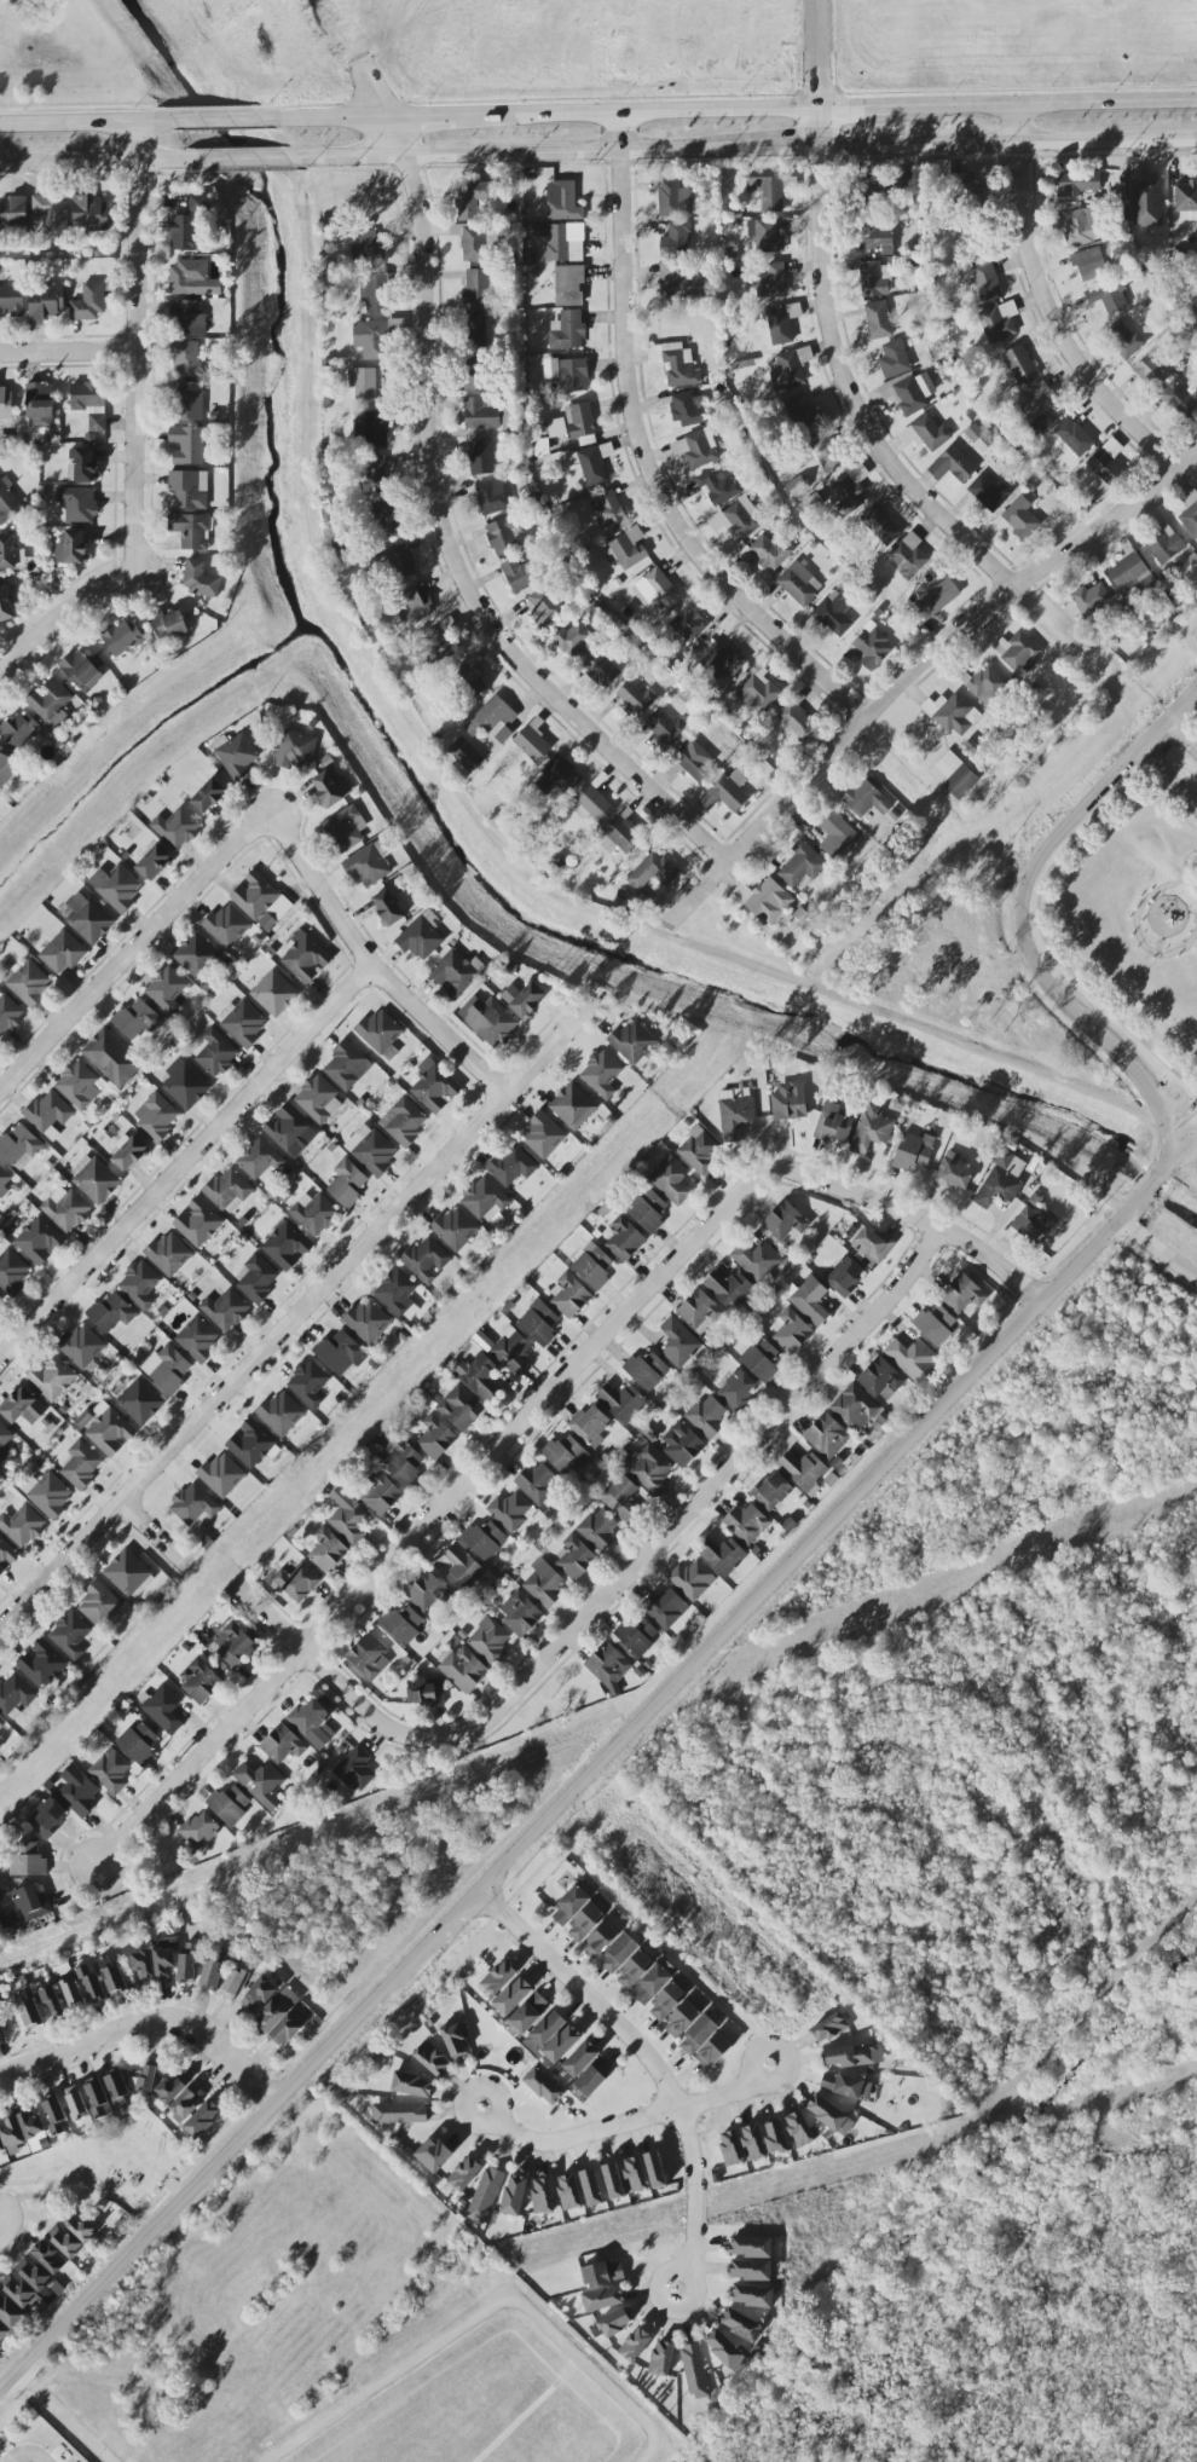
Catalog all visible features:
park: (44, 19)
road: (375, 97)
road: (1048, 106)
road: (862, 110)
road: (641, 117)
road: (331, 121)
road: (423, 121)
road: (215, 122)
road: (79, 127)
road: (1010, 144)
road: (786, 149)
road: (525, 154)
road: (247, 157)
road: (94, 160)
building: (1077, 184)
building: (965, 189)
building: (769, 191)
building: (1185, 197)
building: (673, 198)
building: (473, 200)
building: (562, 202)
building: (1146, 204)
building: (89, 213)
building: (13, 214)
building: (52, 216)
building: (187, 225)
building: (1079, 227)
building: (872, 236)
building: (765, 237)
building: (676, 239)
building: (967, 239)
building: (560, 241)
building: (472, 242)
building: (368, 248)
building: (1089, 264)
building: (192, 279)
building: (874, 279)
building: (983, 279)
building: (771, 281)
building: (681, 283)
building: (568, 285)
building: (478, 287)
building: (375, 293)
building: (1108, 296)
building: (11, 301)
building: (46, 301)
building: (88, 302)
road: (1052, 308)
building: (186, 318)
building: (878, 319)
building: (999, 322)
road: (835, 323)
building: (779, 326)
building: (478, 329)
building: (567, 330)
building: (1123, 339)
building: (371, 340)
road: (139, 349)
road: (69, 352)
building: (186, 359)
building: (894, 359)
building: (677, 364)
building: (1019, 365)
building: (786, 371)
building: (1153, 371)
building: (474, 374)
building: (567, 374)
building: (365, 383)
building: (908, 392)
building: (1179, 400)
building: (5, 401)
building: (89, 403)
building: (186, 403)
building: (39, 405)
building: (686, 409)
building: (1039, 410)
building: (800, 414)
building: (480, 415)
building: (579, 421)
building: (556, 427)
building: (371, 432)
building: (931, 433)
building: (908, 435)
building: (1074, 437)
building: (186, 445)
building: (540, 447)
building: (696, 449)
building: (823, 453)
building: (481, 457)
road: (649, 458)
building: (1106, 461)
building: (82, 464)
building: (594, 464)
building: (953, 466)
building: (375, 475)
building: (719, 486)
building: (189, 489)
building: (846, 493)
building: (988, 493)
building: (493, 497)
building: (7, 502)
building: (79, 504)
building: (607, 509)
building: (1190, 513)
building: (387, 519)
building: (738, 520)
building: (1020, 520)
building: (880, 526)
building: (190, 531)
building: (504, 534)
road: (452, 541)
building: (1164, 544)
building: (71, 548)
building: (626, 550)
building: (10, 553)
building: (767, 553)
building: (907, 555)
building: (1128, 572)
building: (520, 574)
building: (199, 578)
building: (799, 584)
building: (654, 590)
building: (938, 599)
building: (1091, 599)
building: (417, 602)
building: (8, 606)
building: (544, 607)
building: (833, 614)
road: (64, 615)
building: (687, 625)
building: (168, 626)
building: (122, 637)
building: (571, 637)
building: (871, 647)
road: (1100, 648)
building: (1019, 652)
building: (721, 660)
building: (81, 670)
building: (600, 670)
road: (919, 672)
building: (469, 678)
building: (985, 684)
building: (758, 693)
building: (635, 698)
building: (50, 704)
building: (953, 713)
building: (493, 719)
building: (796, 721)
building: (664, 728)
building: (19, 730)
road: (1182, 735)
building: (532, 744)
building: (295, 750)
building: (237, 756)
building: (465, 756)
building: (694, 762)
building: (6, 768)
building: (953, 775)
building: (557, 776)
road: (1169, 776)
road: (1146, 787)
building: (331, 788)
building: (727, 792)
building: (208, 796)
building: (862, 801)
building: (595, 804)
road: (1164, 815)
building: (177, 828)
building: (345, 830)
building: (623, 834)
building: (837, 837)
building: (154, 863)
building: (369, 865)
building: (802, 865)
building: (652, 872)
building: (116, 886)
building: (765, 900)
building: (260, 901)
building: (388, 907)
road: (1022, 915)
building: (86, 917)
building: (227, 925)
building: (421, 937)
road: (1042, 937)
road: (1068, 950)
building: (63, 952)
road: (139, 955)
building: (196, 955)
building: (305, 958)
road: (372, 967)
building: (456, 973)
building: (29, 983)
building: (166, 989)
building: (273, 994)
building: (524, 999)
building: (8, 1013)
building: (137, 1021)
building: (488, 1021)
building: (243, 1022)
building: (381, 1033)
building: (632, 1041)
building: (215, 1053)
building: (111, 1057)
building: (346, 1067)
building: (601, 1074)
building: (185, 1085)
building: (79, 1086)
building: (434, 1086)
building: (318, 1099)
building: (788, 1100)
building: (573, 1106)
building: (735, 1112)
building: (50, 1114)
building: (156, 1116)
building: (404, 1121)
building: (833, 1125)
road: (1181, 1125)
building: (288, 1127)
building: (871, 1131)
building: (543, 1135)
road: (1184, 1144)
building: (19, 1146)
building: (370, 1149)
building: (699, 1149)
building: (912, 1151)
building: (128, 1152)
building: (260, 1161)
road: (186, 1166)
building: (511, 1166)
building: (953, 1173)
building: (94, 1179)
building: (670, 1179)
building: (5, 1180)
building: (1001, 1180)
building: (347, 1184)
building: (227, 1189)
building: (484, 1198)
building: (65, 1209)
building: (647, 1210)
building: (314, 1214)
building: (785, 1220)
building: (197, 1223)
building: (1033, 1223)
building: (456, 1232)
building: (624, 1239)
building: (39, 1241)
building: (285, 1247)
building: (872, 1247)
road: (1157, 1252)
building: (168, 1254)
building: (426, 1260)
building: (756, 1260)
building: (592, 1266)
building: (12, 1271)
building: (845, 1276)
building: (258, 1278)
building: (139, 1284)
building: (729, 1289)
building: (398, 1294)
building: (962, 1294)
building: (569, 1295)
building: (0, 1300)
building: (810, 1300)
building: (225, 1310)
building: (111, 1312)
building: (699, 1312)
road: (302, 1313)
building: (368, 1320)
building: (538, 1323)
building: (935, 1324)
building: (792, 1331)
building: (197, 1339)
building: (680, 1343)
building: (511, 1352)
building: (339, 1353)
building: (912, 1359)
building: (762, 1360)
building: (167, 1369)
building: (646, 1370)
building: (51, 1377)
building: (480, 1377)
building: (880, 1377)
building: (308, 1383)
building: (736, 1389)
building: (139, 1402)
building: (621, 1402)
building: (23, 1408)
building: (459, 1408)
road: (538, 1408)
building: (854, 1408)
building: (281, 1412)
building: (706, 1417)
building: (590, 1426)
building: (109, 1431)
building: (827, 1437)
building: (435, 1438)
building: (4, 1440)
building: (250, 1444)
building: (682, 1444)
building: (565, 1456)
building: (400, 1458)
building: (81, 1466)
building: (650, 1470)
building: (803, 1470)
building: (221, 1475)
building: (537, 1481)
road: (699, 1490)
building: (771, 1492)
building: (47, 1493)
building: (381, 1493)
building: (620, 1497)
building: (195, 1507)
building: (511, 1512)
building: (348, 1516)
building: (746, 1524)
building: (22, 1526)
building: (598, 1528)
road: (158, 1533)
building: (484, 1539)
building: (328, 1550)
building: (6, 1555)
building: (722, 1555)
building: (574, 1559)
building: (462, 1568)
building: (128, 1574)
building: (692, 1579)
building: (299, 1580)
building: (544, 1584)
building: (427, 1593)
building: (99, 1605)
building: (665, 1608)
building: (520, 1614)
road: (273, 1617)
building: (401, 1624)
building: (70, 1635)
building: (636, 1635)
building: (490, 1640)
building: (233, 1645)
building: (369, 1658)
building: (41, 1664)
building: (607, 1665)
building: (462, 1669)
building: (199, 1680)
building: (15, 1693)
building: (424, 1693)
building: (163, 1709)
road: (369, 1709)
building: (312, 1723)
building: (138, 1744)
building: (282, 1744)
building: (355, 1769)
building: (110, 1772)
road: (588, 1774)
building: (260, 1784)
building: (79, 1795)
building: (229, 1804)
building: (47, 1816)
building: (199, 1830)
building: (28, 1860)
building: (31, 1903)
building: (569, 1905)
building: (584, 1921)
building: (600, 1940)
building: (619, 1953)
building: (164, 1959)
building: (187, 1963)
building: (143, 1967)
building: (634, 1970)
building: (210, 1973)
building: (499, 1977)
building: (115, 1980)
building: (233, 1983)
building: (652, 1984)
building: (94, 1988)
building: (71, 1993)
building: (258, 1995)
building: (513, 1996)
building: (666, 2000)
building: (52, 2002)
building: (29, 2009)
building: (528, 2012)
building: (282, 2018)
building: (681, 2019)
road: (148, 2028)
building: (548, 2028)
building: (829, 2028)
building: (1, 2036)
building: (455, 2041)
building: (706, 2042)
building: (531, 2044)
building: (561, 2044)
building: (849, 2056)
building: (430, 2058)
building: (580, 2059)
road: (650, 2059)
building: (594, 2075)
building: (148, 2076)
building: (116, 2084)
building: (412, 2085)
building: (543, 2086)
building: (845, 2086)
building: (96, 2092)
building: (180, 2096)
building: (75, 2102)
building: (399, 2113)
building: (54, 2114)
building: (829, 2115)
building: (202, 2119)
road: (626, 2122)
building: (33, 2129)
building: (799, 2129)
building: (775, 2136)
building: (752, 2143)
building: (0, 2146)
building: (730, 2149)
building: (433, 2155)
building: (654, 2169)
building: (464, 2173)
building: (634, 2174)
building: (613, 2181)
building: (590, 2188)
building: (568, 2192)
building: (485, 2195)
building: (514, 2195)
building: (542, 2196)
building: (82, 2229)
building: (64, 2241)
building: (751, 2247)
building: (48, 2256)
building: (750, 2270)
building: (602, 2272)
building: (34, 2275)
building: (23, 2295)
building: (752, 2295)
building: (602, 2299)
building: (10, 2312)
road: (484, 2318)
building: (609, 2324)
building: (740, 2325)
building: (2, 2333)
building: (635, 2345)
building: (723, 2350)
building: (661, 2358)
road: (126, 2373)
building: (695, 2373)
road: (53, 2421)
road: (28, 2452)

